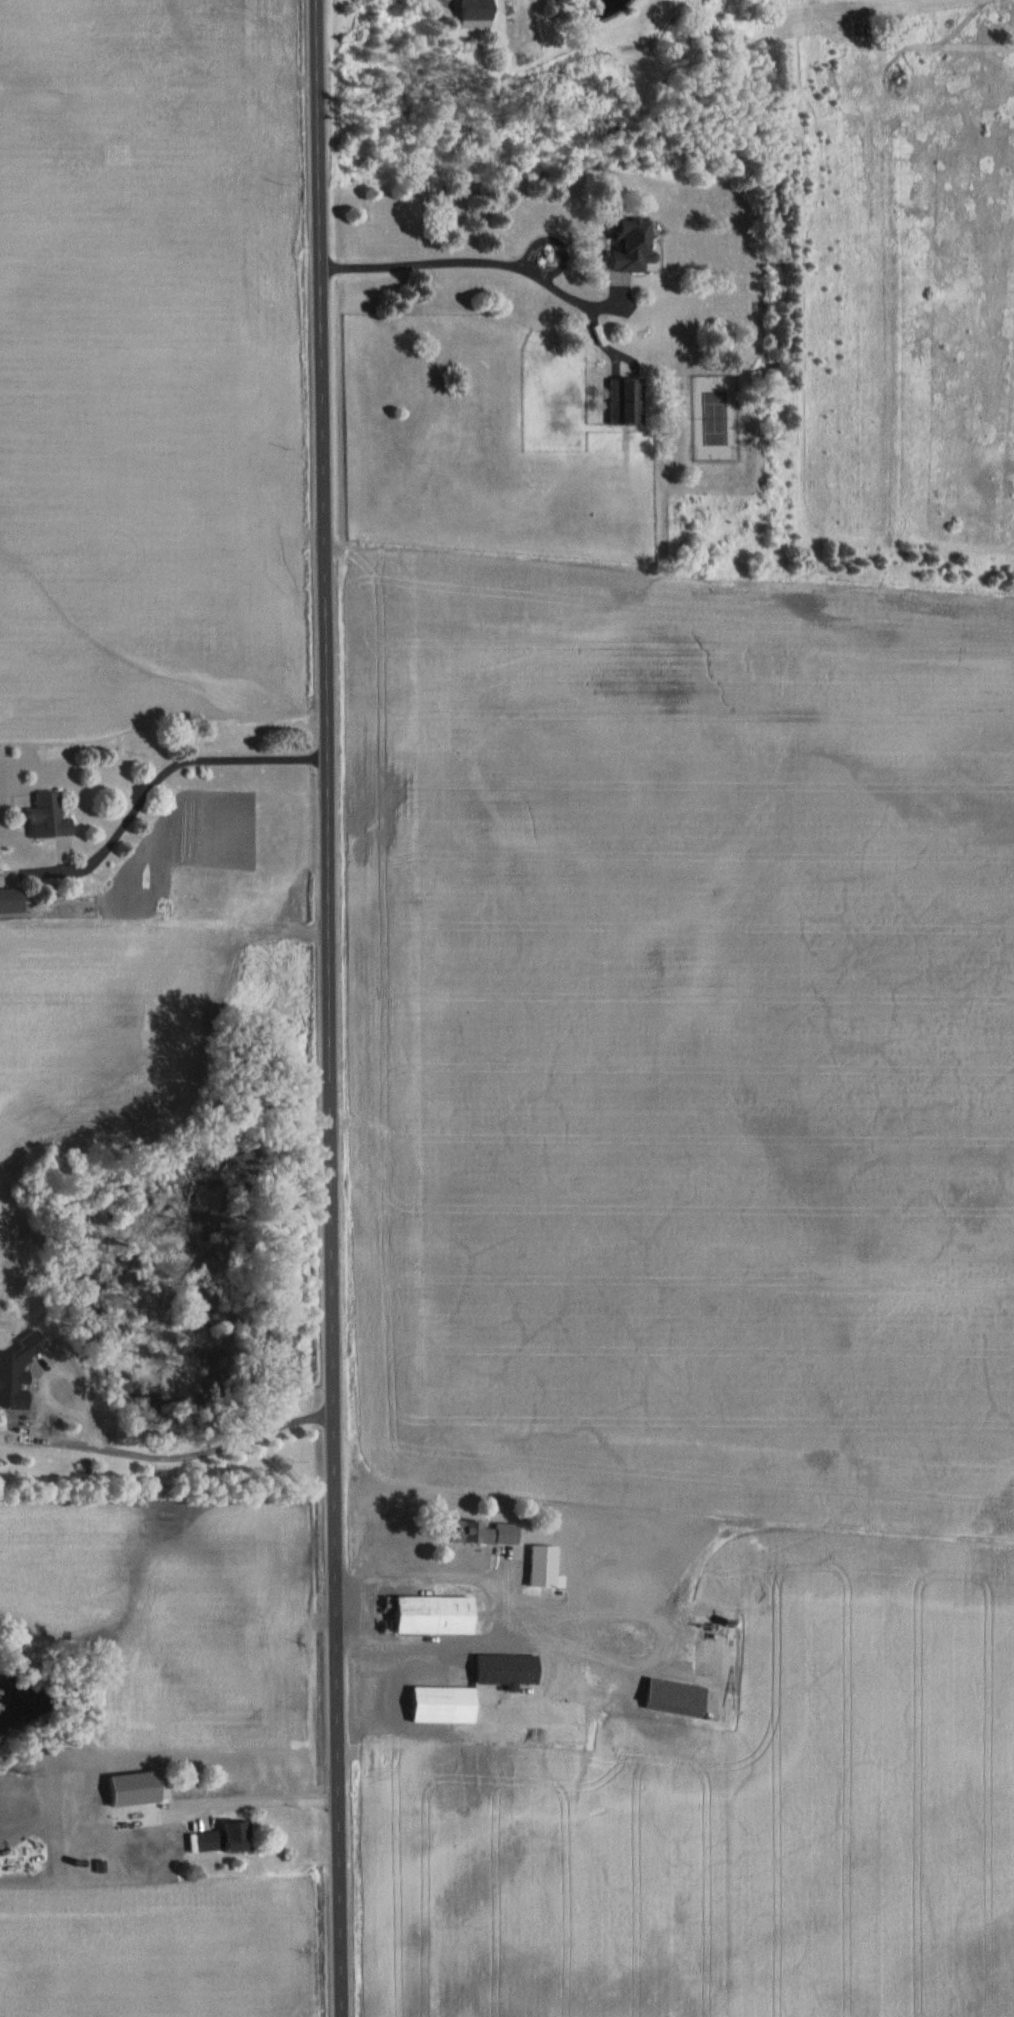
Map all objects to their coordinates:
building: (472, 13)
building: (624, 244)
road: (478, 261)
building: (621, 401)
building: (40, 817)
road: (329, 1008)
building: (10, 1387)
road: (182, 1455)
building: (483, 1532)
building: (596, 1534)
building: (603, 1561)
building: (540, 1566)
building: (431, 1614)
building: (501, 1668)
building: (567, 1681)
building: (671, 1697)
building: (439, 1704)
building: (154, 1788)
road: (274, 1800)
building: (221, 1837)

